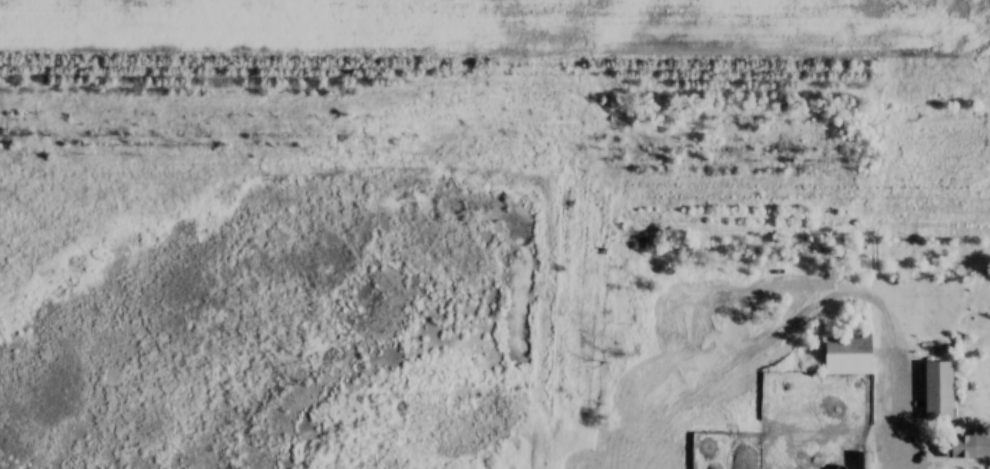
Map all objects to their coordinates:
building: (844, 353)
building: (933, 389)
building: (861, 459)

